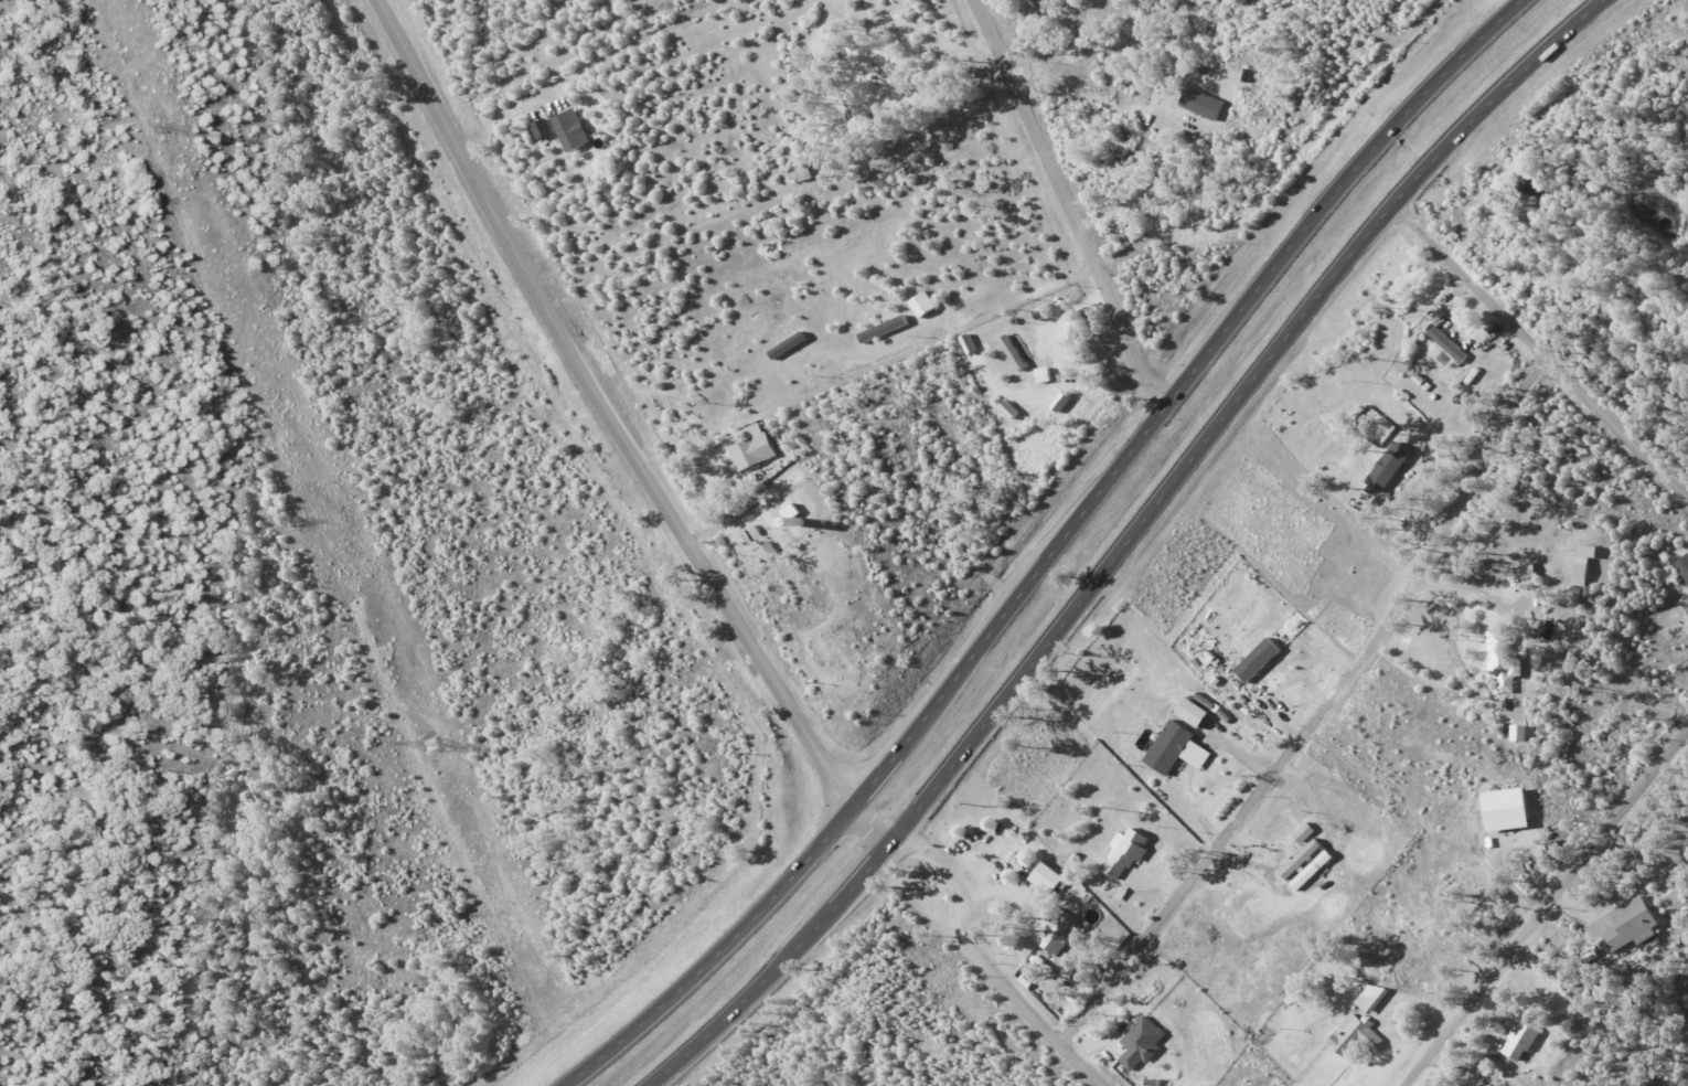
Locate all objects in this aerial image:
road: (1510, 4)
road: (662, 49)
road: (950, 72)
building: (1203, 104)
power tower: (156, 126)
building: (543, 128)
building: (571, 130)
road: (1067, 204)
road: (1149, 205)
road: (1027, 296)
building: (923, 304)
building: (1436, 315)
building: (884, 329)
building: (1013, 352)
road: (1537, 352)
building: (1044, 374)
road: (1057, 381)
building: (1060, 402)
road: (619, 430)
building: (750, 447)
building: (1389, 467)
road: (741, 510)
road: (1126, 543)
building: (765, 551)
road: (1055, 551)
building: (1579, 563)
building: (1682, 567)
building: (1524, 569)
road: (1465, 599)
building: (1258, 660)
building: (1502, 661)
building: (1192, 713)
road: (1321, 713)
building: (1519, 733)
power tower: (431, 744)
building: (1176, 749)
building: (1505, 809)
building: (1305, 832)
building: (1126, 854)
building: (1306, 864)
building: (1047, 879)
road: (1545, 908)
building: (1633, 919)
building: (1059, 933)
road: (993, 960)
building: (1370, 998)
building: (1354, 1036)
building: (1519, 1040)
building: (1142, 1043)

